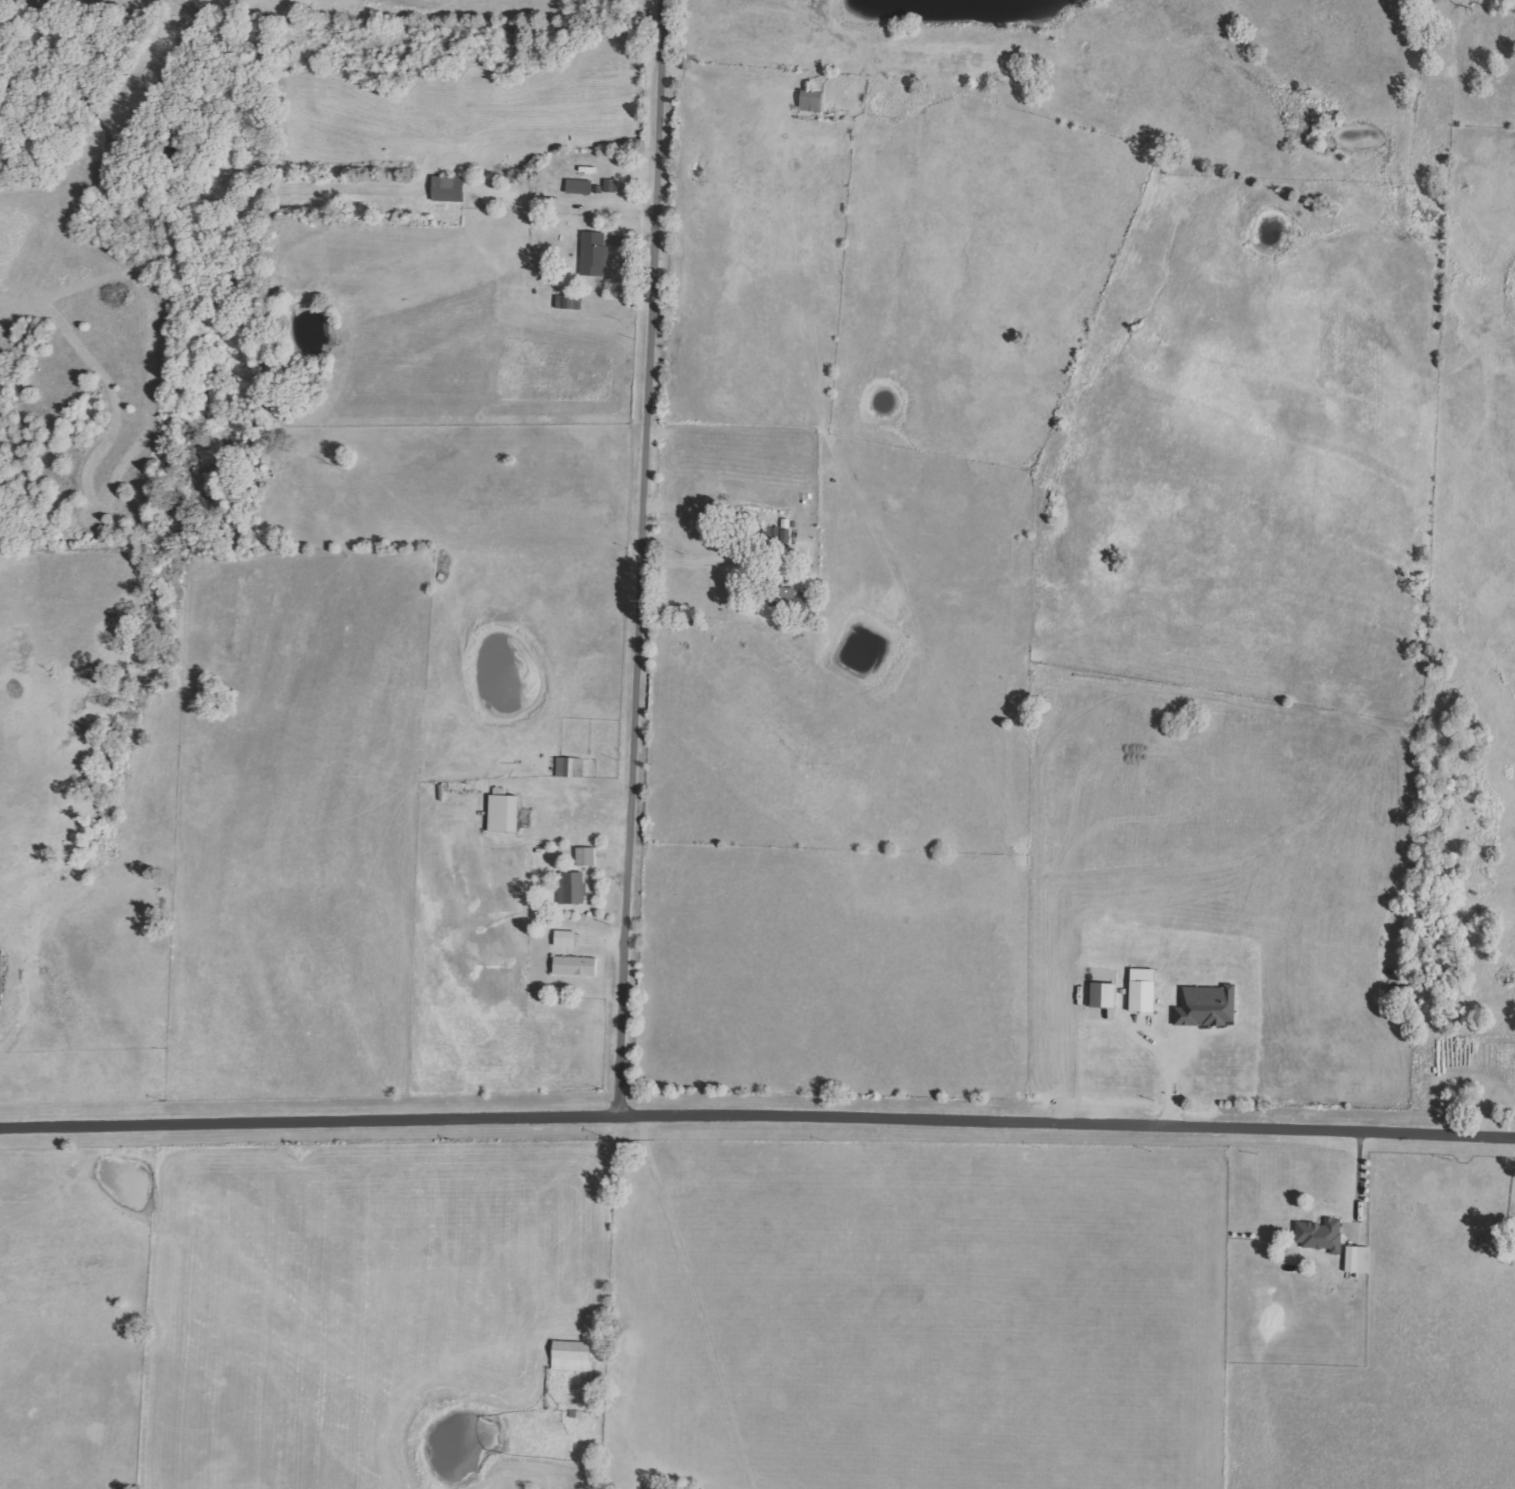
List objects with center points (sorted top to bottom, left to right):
building: (578, 187)
building: (446, 189)
building: (592, 255)
building: (539, 281)
road: (643, 555)
road: (702, 556)
building: (789, 597)
building: (568, 767)
building: (501, 811)
building: (585, 856)
building: (570, 888)
building: (564, 938)
building: (574, 966)
building: (1141, 990)
building: (1102, 995)
building: (1205, 1006)
road: (1168, 1070)
road: (757, 1115)
road: (1358, 1180)
building: (1319, 1234)
road: (697, 1301)
building: (570, 1356)

